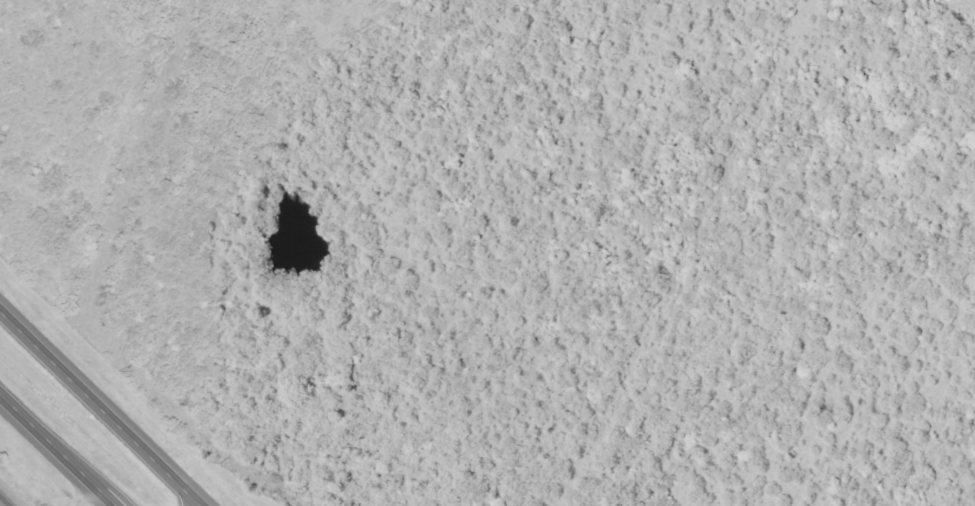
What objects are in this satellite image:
road: (100, 409)
road: (56, 452)
road: (80, 495)
railway: (2, 503)

